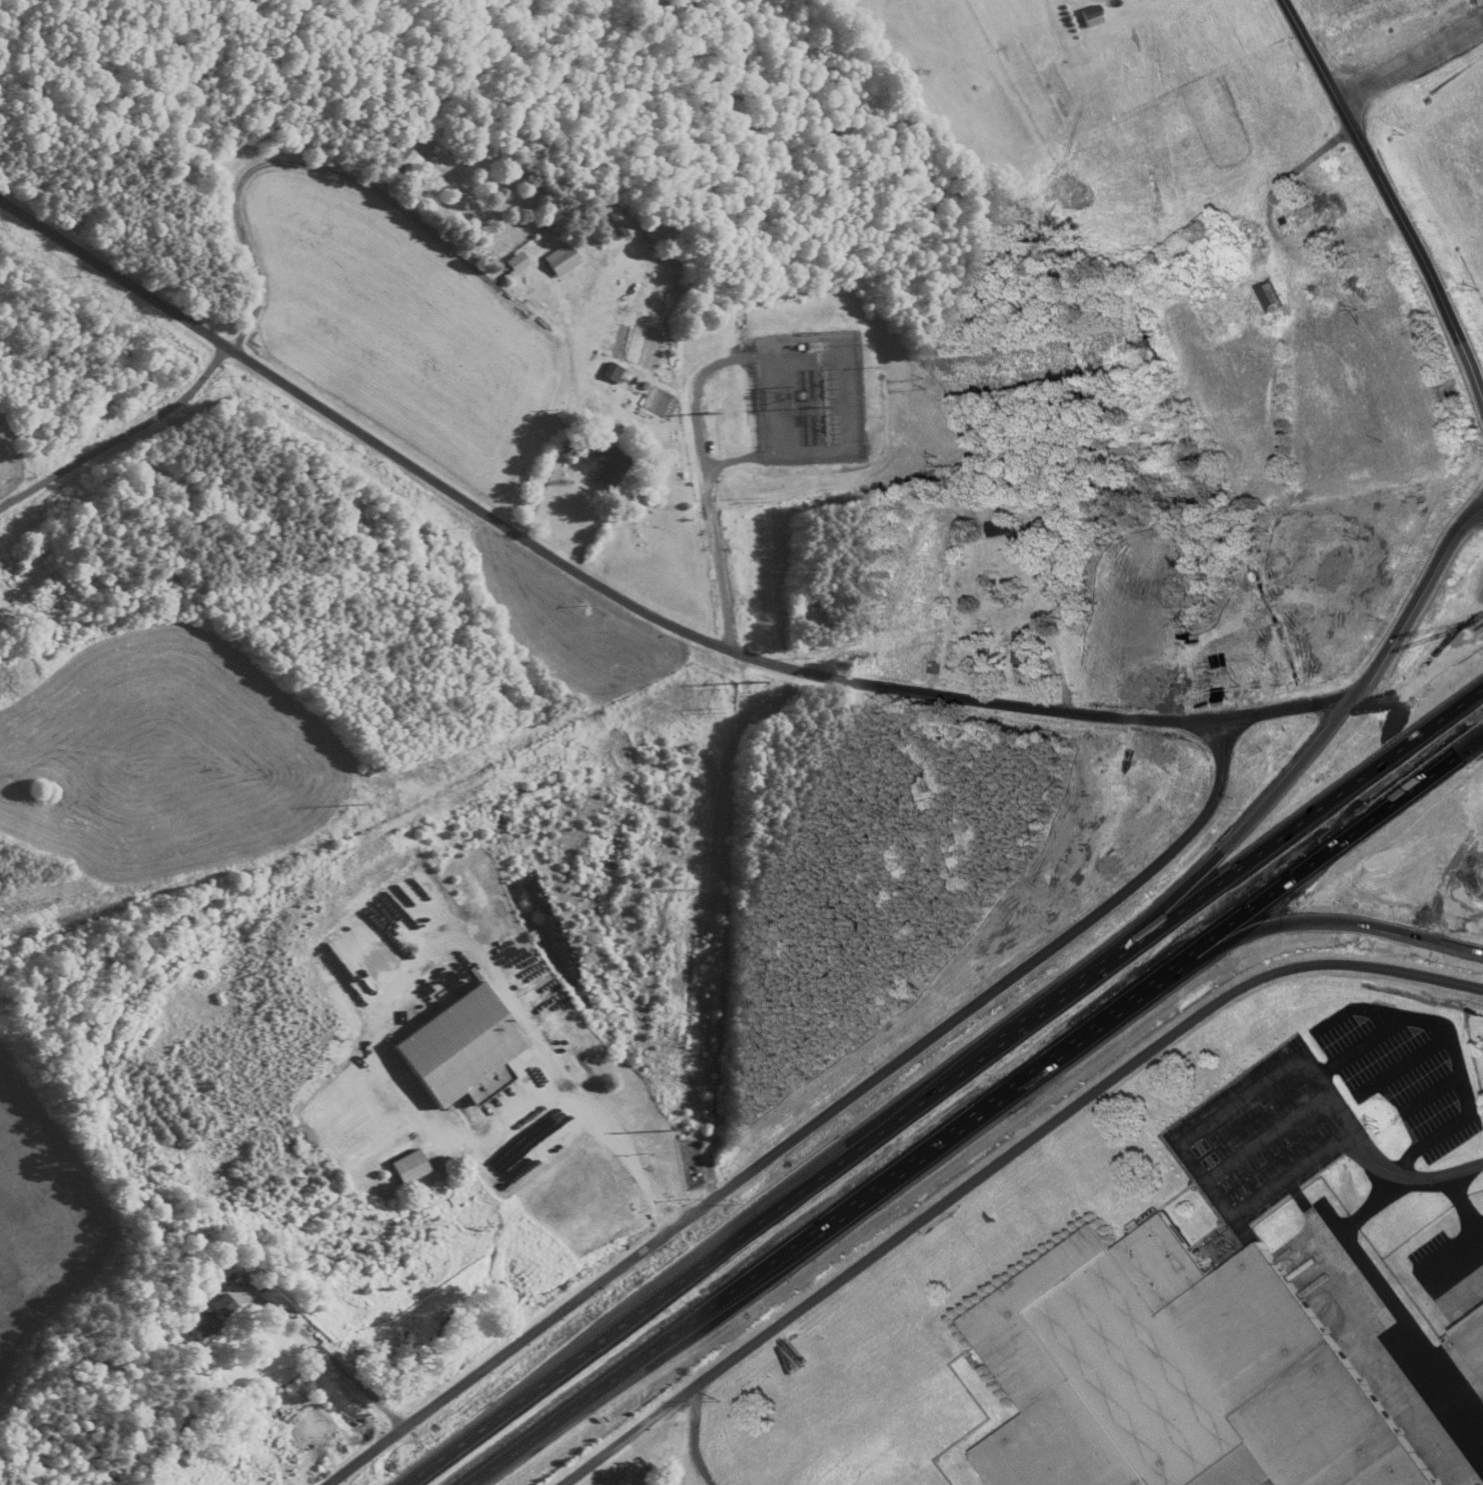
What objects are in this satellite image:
road: (1308, 50)
road: (1409, 61)
road: (238, 189)
building: (1319, 211)
building: (616, 222)
building: (1242, 236)
building: (561, 261)
road: (1417, 282)
building: (1269, 298)
building: (612, 373)
power substation: (809, 397)
road: (124, 436)
building: (611, 470)
road: (1481, 471)
road: (1481, 476)
building: (1000, 529)
road: (525, 533)
road: (1129, 624)
building: (1022, 650)
road: (1231, 732)
building: (1279, 836)
road: (1318, 898)
road: (1450, 984)
building: (462, 1051)
road: (943, 1086)
road: (974, 1111)
road: (1266, 1137)
road: (618, 1143)
road: (1184, 1143)
building: (409, 1167)
road: (1410, 1176)
road: (973, 1178)
road: (1476, 1238)
road: (586, 1299)
road: (1408, 1313)
building: (210, 1319)
building: (1469, 1347)
road: (330, 1357)
building: (1175, 1376)
railway: (988, 1484)

